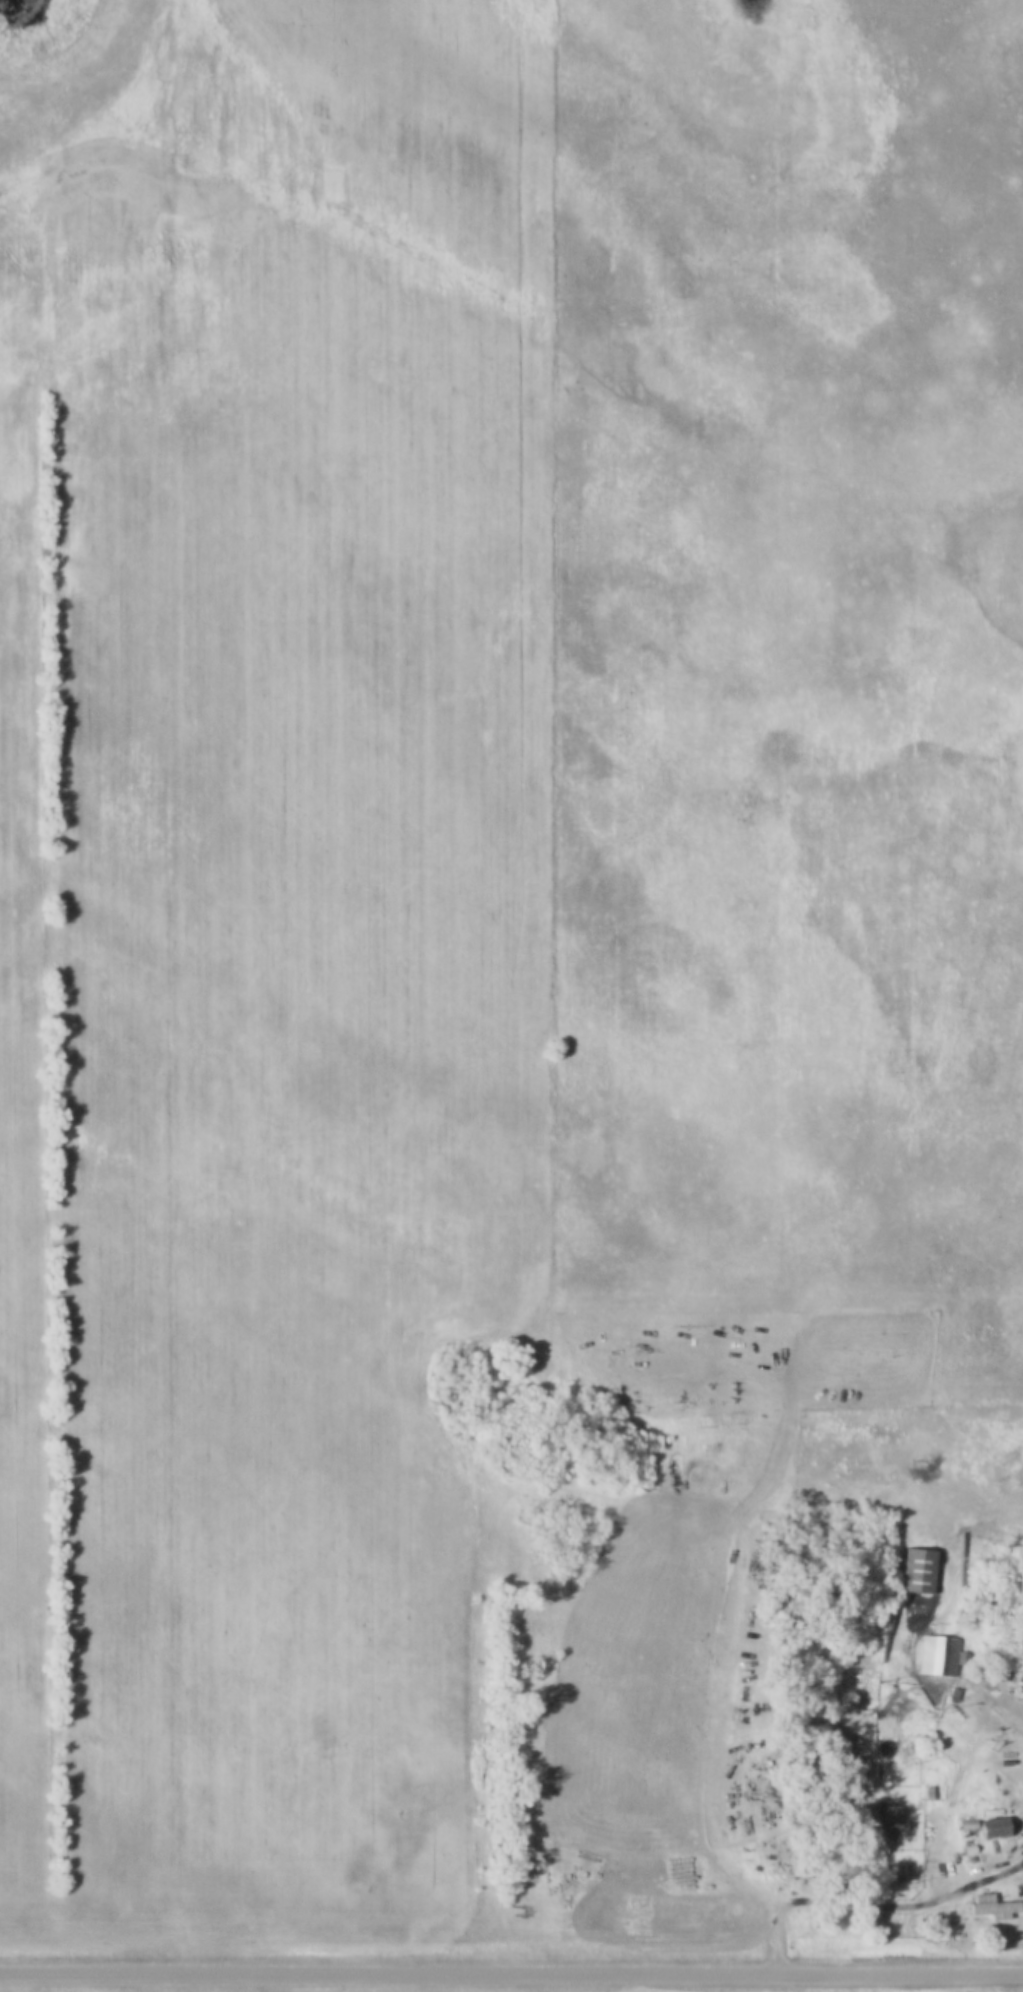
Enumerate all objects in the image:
building: (916, 1570)
road: (748, 1635)
building: (939, 1655)
road: (1001, 1706)
building: (940, 1775)
building: (992, 1829)
road: (999, 1871)
building: (991, 1906)
road: (511, 1971)

